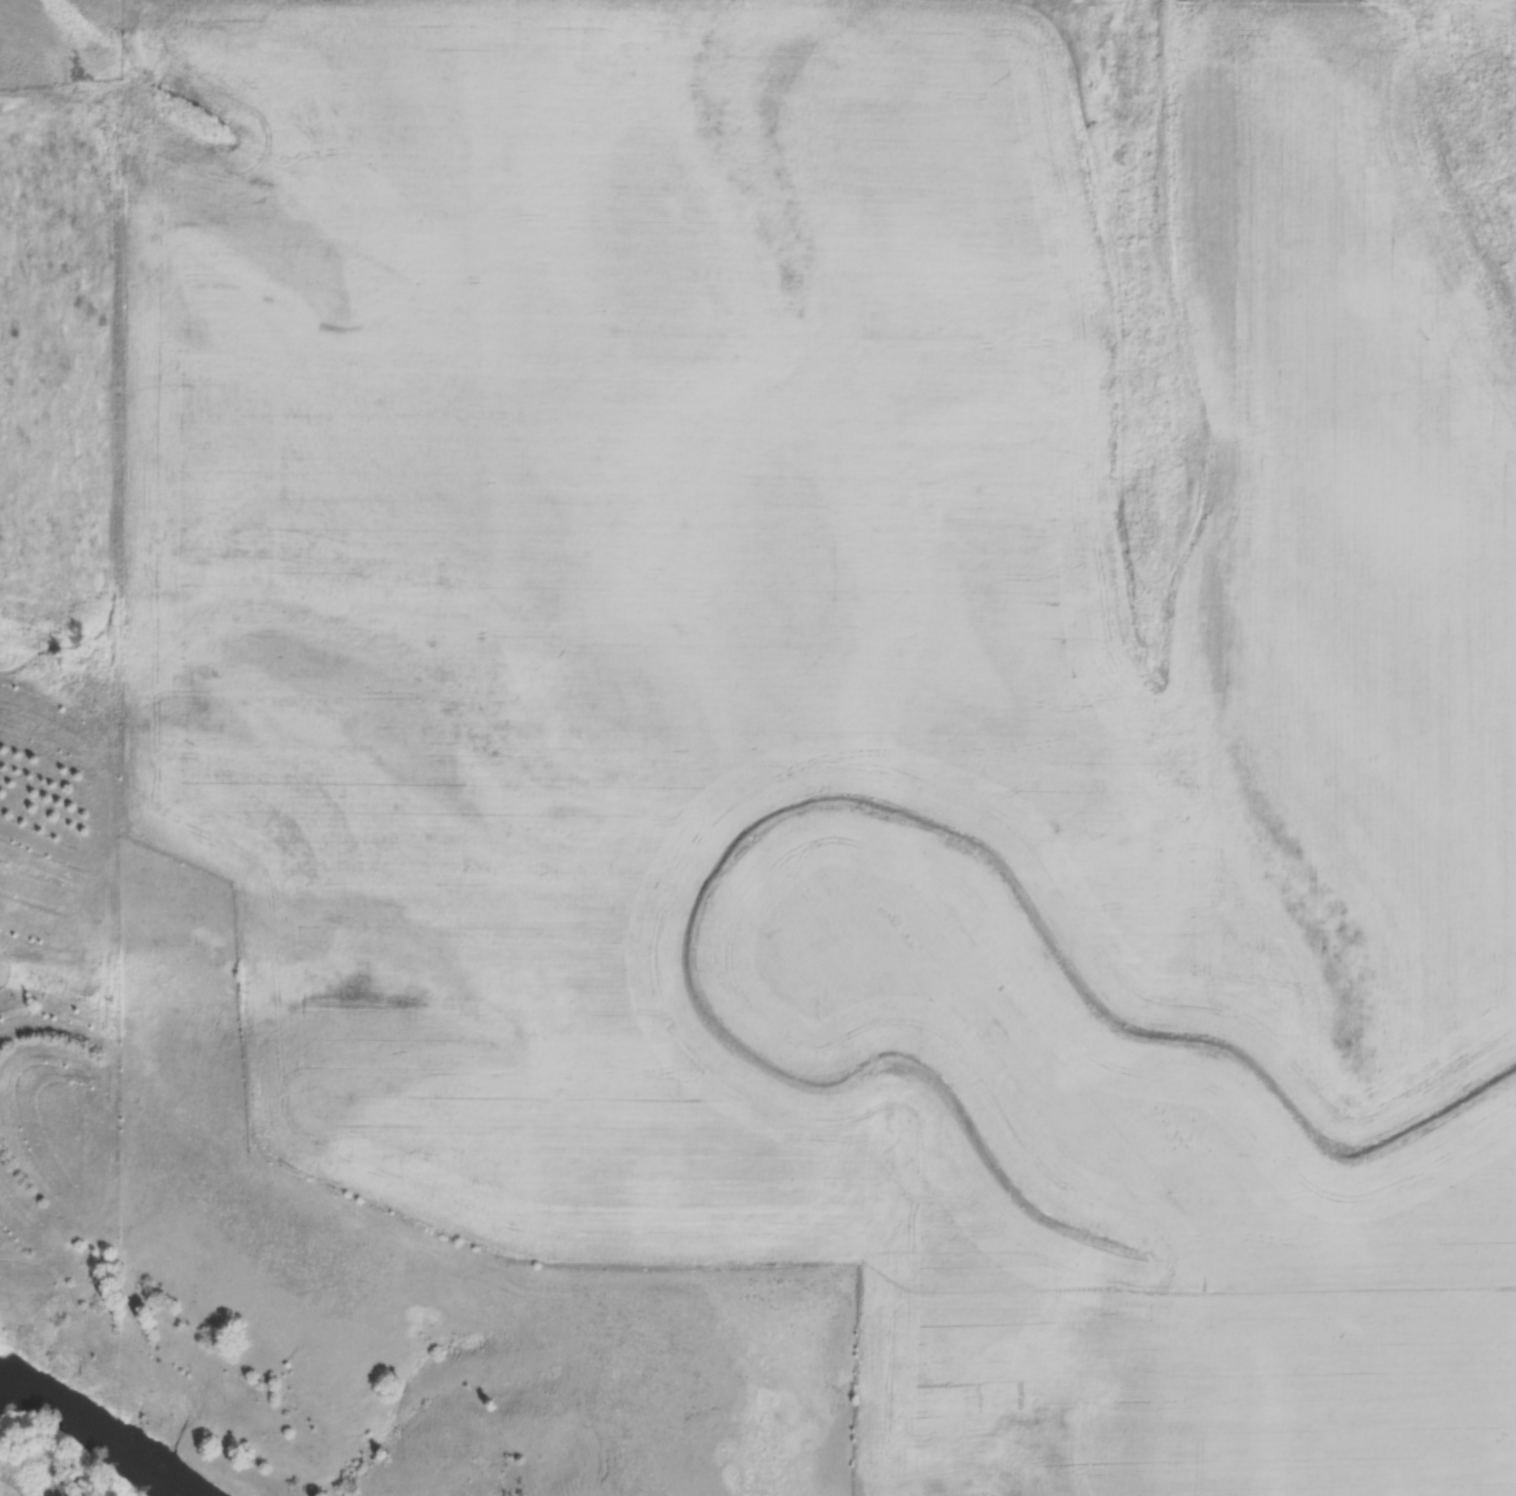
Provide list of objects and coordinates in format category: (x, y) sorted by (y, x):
river: (98, 1422)

